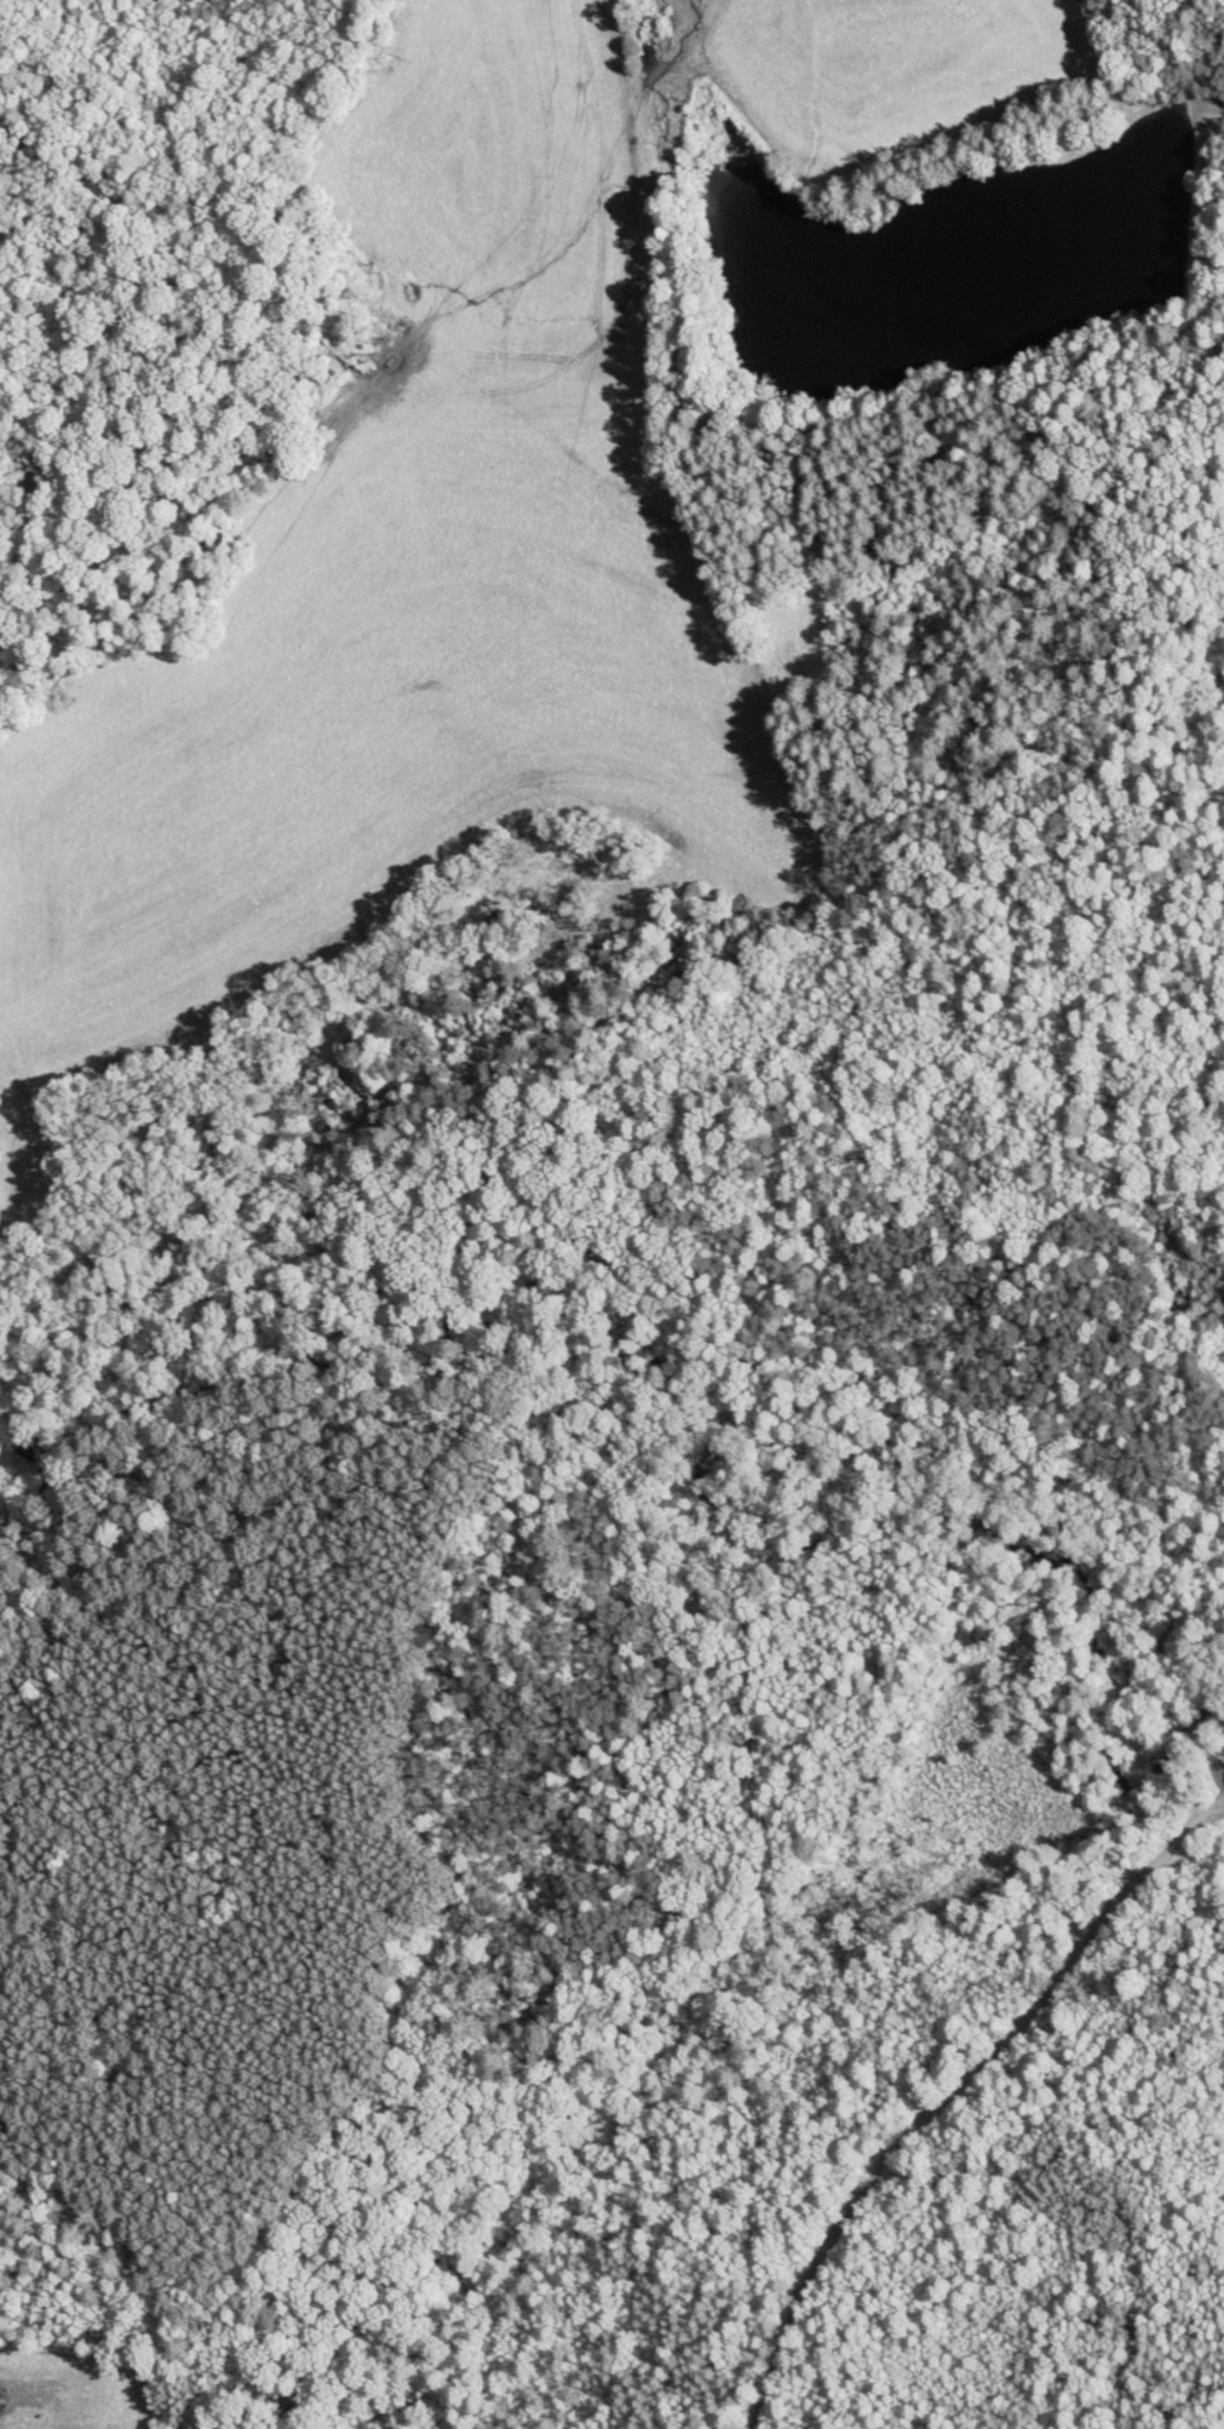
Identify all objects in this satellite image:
building: (33, 2391)

